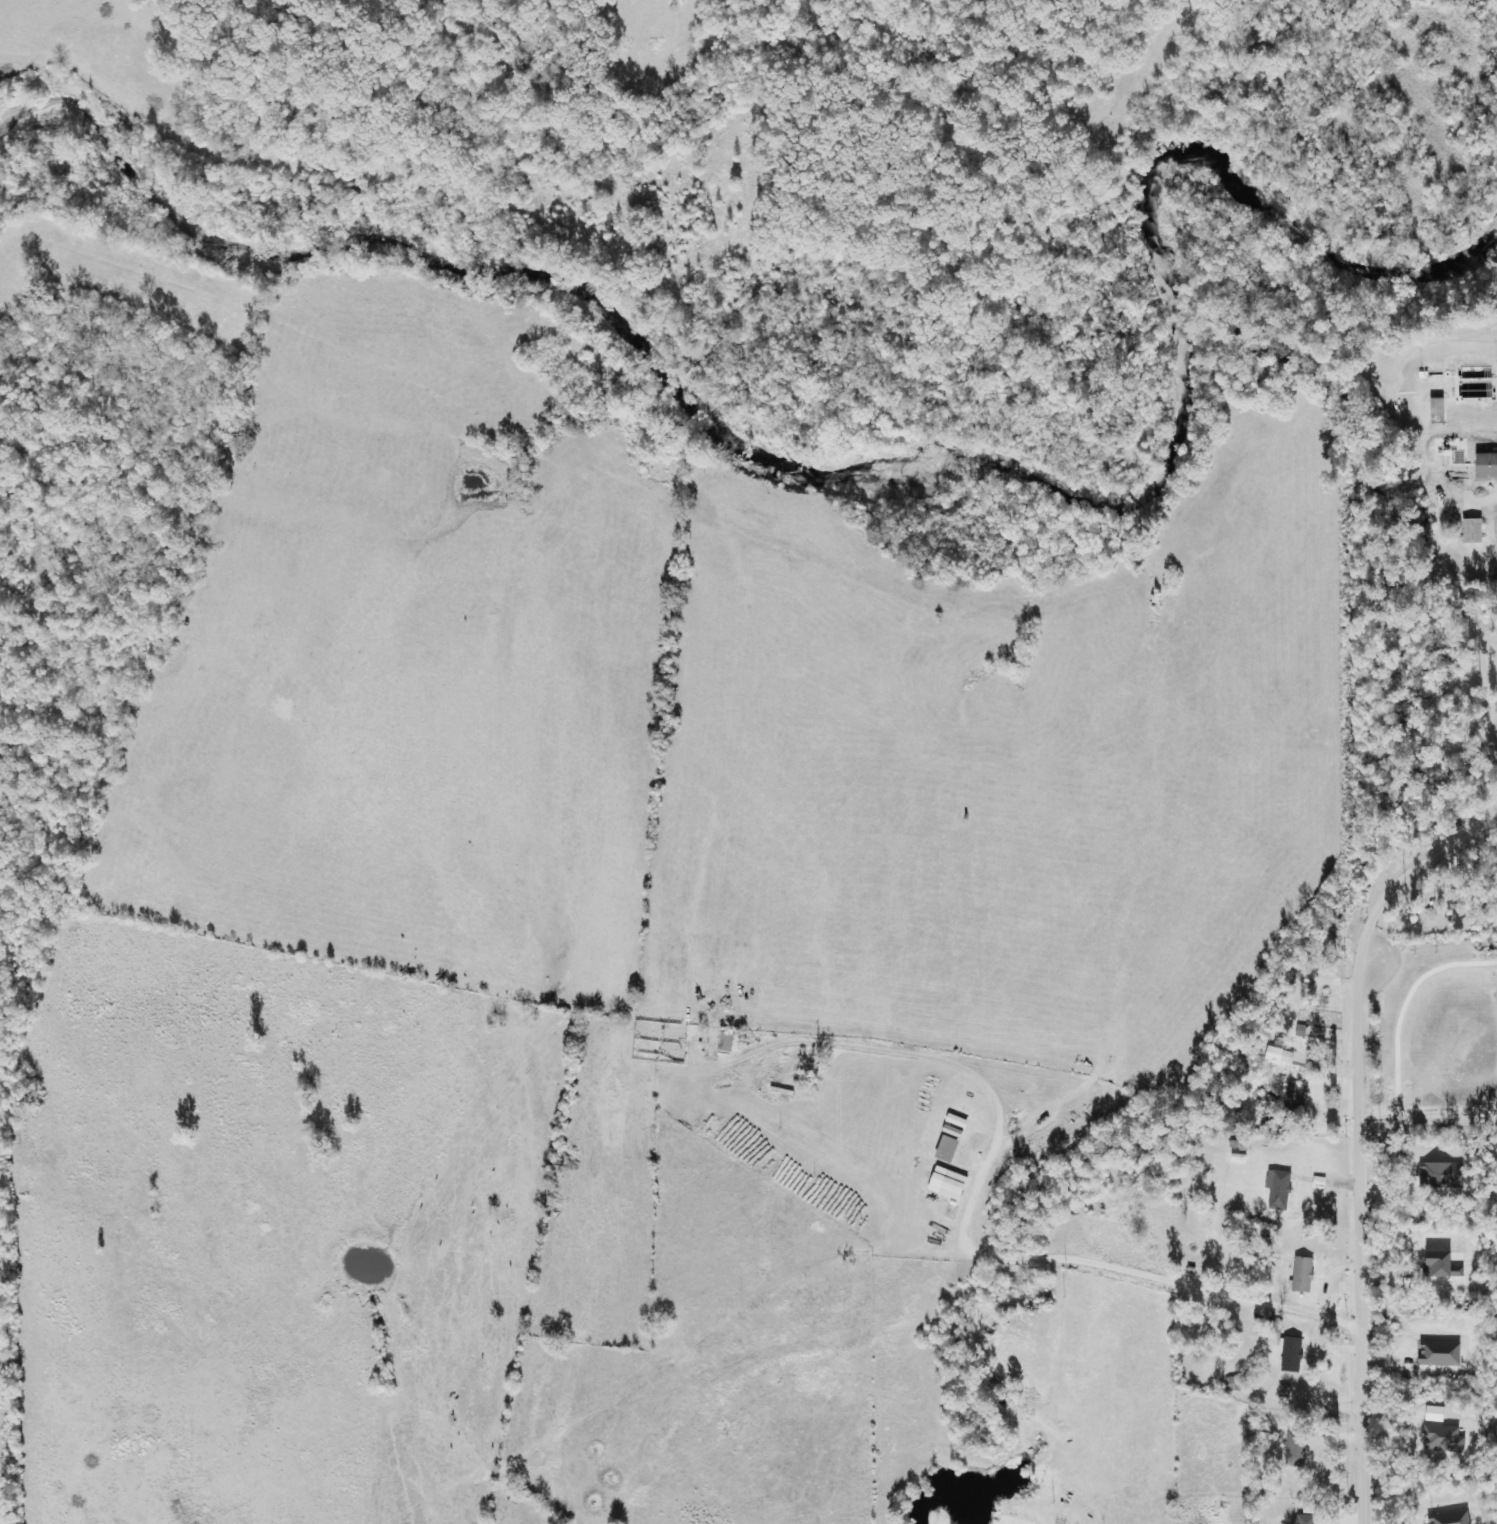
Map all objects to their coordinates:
building: (1438, 410)
building: (1487, 465)
building: (1474, 531)
building: (719, 1041)
building: (1295, 1099)
road: (1358, 1141)
building: (1281, 1189)
road: (975, 1197)
building: (1303, 1275)
building: (1227, 1385)
building: (1296, 1450)
building: (1308, 1520)

